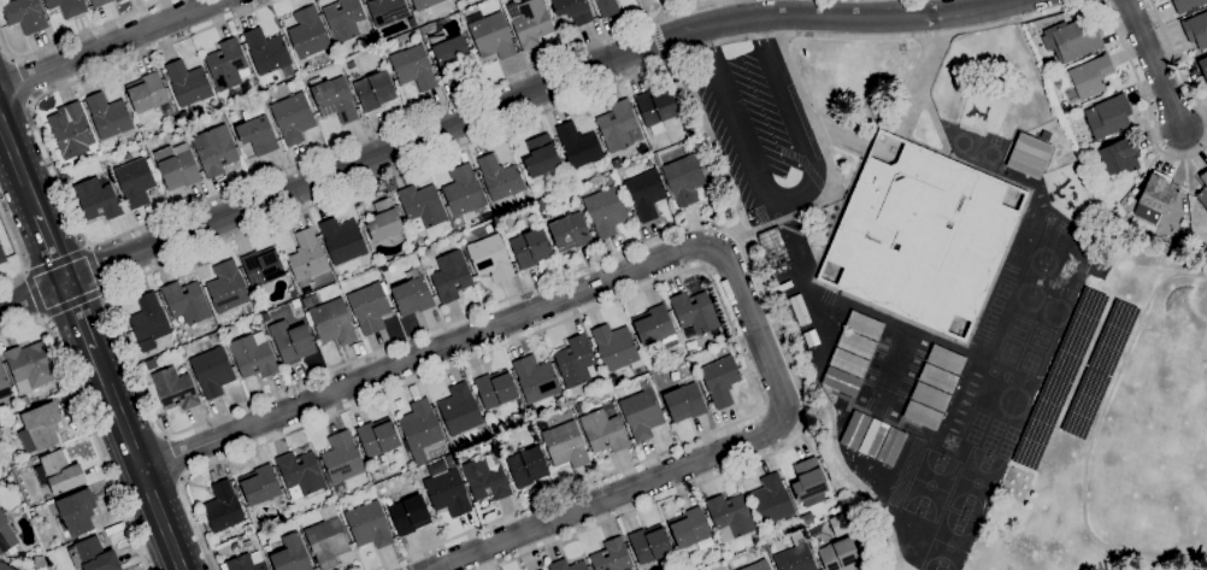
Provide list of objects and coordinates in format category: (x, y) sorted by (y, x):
building: (99, 2)
building: (422, 4)
building: (1187, 5)
building: (67, 7)
building: (607, 7)
park: (670, 8)
building: (572, 10)
building: (387, 11)
road: (697, 13)
building: (25, 14)
building: (343, 19)
building: (531, 23)
building: (1196, 29)
building: (308, 33)
road: (75, 34)
building: (489, 34)
road: (658, 39)
building: (1071, 40)
road: (108, 45)
building: (266, 51)
building: (451, 54)
road: (1174, 59)
building: (226, 64)
building: (352, 64)
road: (1155, 64)
building: (413, 66)
building: (1202, 67)
road: (23, 77)
building: (1089, 77)
building: (188, 82)
building: (375, 90)
building: (147, 92)
building: (334, 98)
road: (496, 106)
building: (657, 108)
building: (108, 114)
building: (1107, 116)
building: (293, 117)
road: (932, 119)
building: (617, 125)
parking lot: (759, 127)
building: (71, 129)
building: (255, 130)
road: (897, 133)
building: (1046, 135)
building: (578, 145)
building: (216, 149)
building: (1029, 154)
building: (541, 155)
building: (1120, 155)
building: (119, 158)
road: (956, 159)
road: (19, 166)
building: (177, 166)
road: (829, 168)
building: (499, 177)
building: (685, 177)
building: (136, 181)
building: (708, 189)
building: (1202, 189)
building: (464, 190)
building: (646, 193)
road: (785, 193)
building: (1155, 198)
building: (98, 199)
road: (206, 200)
building: (423, 206)
building: (605, 210)
building: (1105, 211)
building: (387, 222)
building: (570, 231)
building: (922, 236)
building: (342, 240)
road: (52, 247)
building: (530, 247)
building: (775, 247)
road: (691, 248)
road: (720, 251)
road: (17, 253)
building: (2, 255)
building: (307, 257)
building: (490, 257)
road: (57, 262)
road: (1150, 265)
building: (263, 266)
road: (705, 266)
road: (94, 269)
building: (451, 276)
road: (663, 278)
building: (228, 286)
building: (784, 286)
building: (294, 293)
road: (35, 294)
building: (412, 295)
building: (186, 301)
road: (72, 302)
building: (369, 306)
building: (800, 310)
building: (694, 311)
road: (78, 315)
road: (113, 316)
building: (148, 322)
building: (332, 322)
building: (655, 324)
building: (865, 324)
building: (689, 331)
building: (226, 333)
building: (216, 335)
building: (813, 336)
building: (808, 339)
building: (292, 340)
building: (856, 343)
building: (616, 347)
building: (253, 354)
building: (946, 358)
building: (576, 360)
building: (849, 363)
building: (30, 365)
building: (213, 370)
park: (991, 370)
park: (1006, 376)
building: (937, 377)
building: (536, 378)
building: (719, 381)
building: (841, 381)
building: (4, 383)
building: (173, 388)
building: (495, 388)
building: (930, 395)
building: (24, 401)
building: (684, 401)
building: (608, 406)
building: (579, 407)
building: (460, 409)
building: (532, 411)
building: (641, 412)
building: (923, 415)
park: (979, 419)
road: (87, 423)
building: (420, 424)
building: (40, 427)
park: (995, 427)
building: (855, 429)
building: (603, 430)
park: (1011, 433)
road: (166, 435)
park: (972, 435)
building: (377, 436)
building: (873, 437)
road: (1090, 437)
park: (989, 441)
building: (565, 443)
building: (891, 446)
park: (1003, 448)
road: (172, 457)
building: (342, 457)
road: (136, 459)
building: (451, 462)
building: (528, 466)
building: (59, 471)
building: (301, 474)
road: (855, 477)
road: (182, 478)
building: (485, 478)
building: (808, 481)
park: (976, 482)
building: (259, 484)
park: (930, 484)
building: (448, 492)
building: (771, 500)
building: (223, 507)
building: (76, 512)
building: (410, 513)
building: (731, 515)
building: (807, 518)
building: (369, 524)
building: (689, 528)
building: (6, 536)
building: (326, 537)
park: (949, 541)
building: (649, 543)
building: (266, 547)
building: (292, 554)
building: (840, 554)
building: (94, 556)
building: (612, 556)
building: (795, 556)
building: (40, 560)
building: (245, 563)
building: (567, 565)
building: (756, 565)
building: (5, 566)
road: (906, 566)
building: (541, 569)

